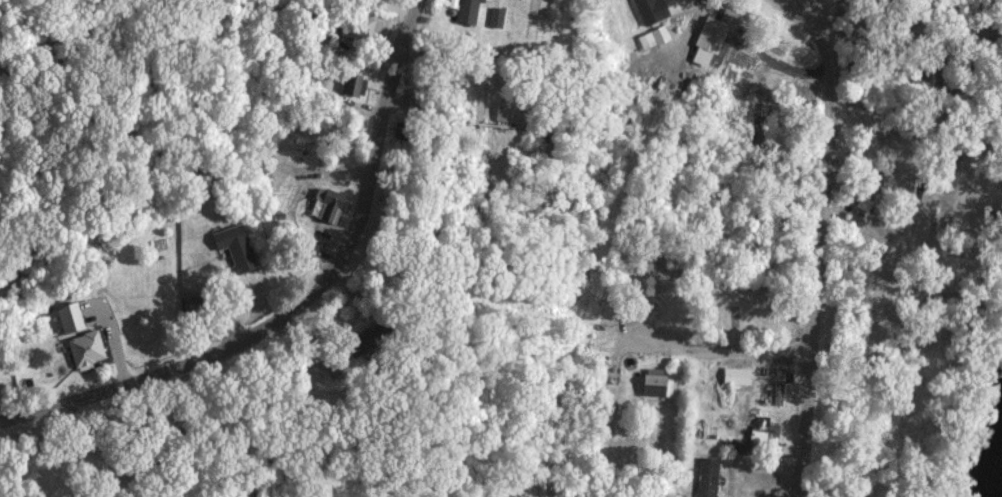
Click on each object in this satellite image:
road: (784, 8)
road: (815, 8)
building: (653, 10)
building: (467, 11)
building: (497, 16)
building: (655, 37)
building: (711, 38)
building: (352, 83)
building: (515, 111)
building: (330, 208)
building: (237, 246)
road: (623, 248)
road: (817, 248)
road: (306, 305)
building: (73, 318)
road: (714, 347)
building: (89, 349)
building: (739, 375)
building: (655, 381)
building: (780, 385)
building: (767, 430)
building: (707, 477)

